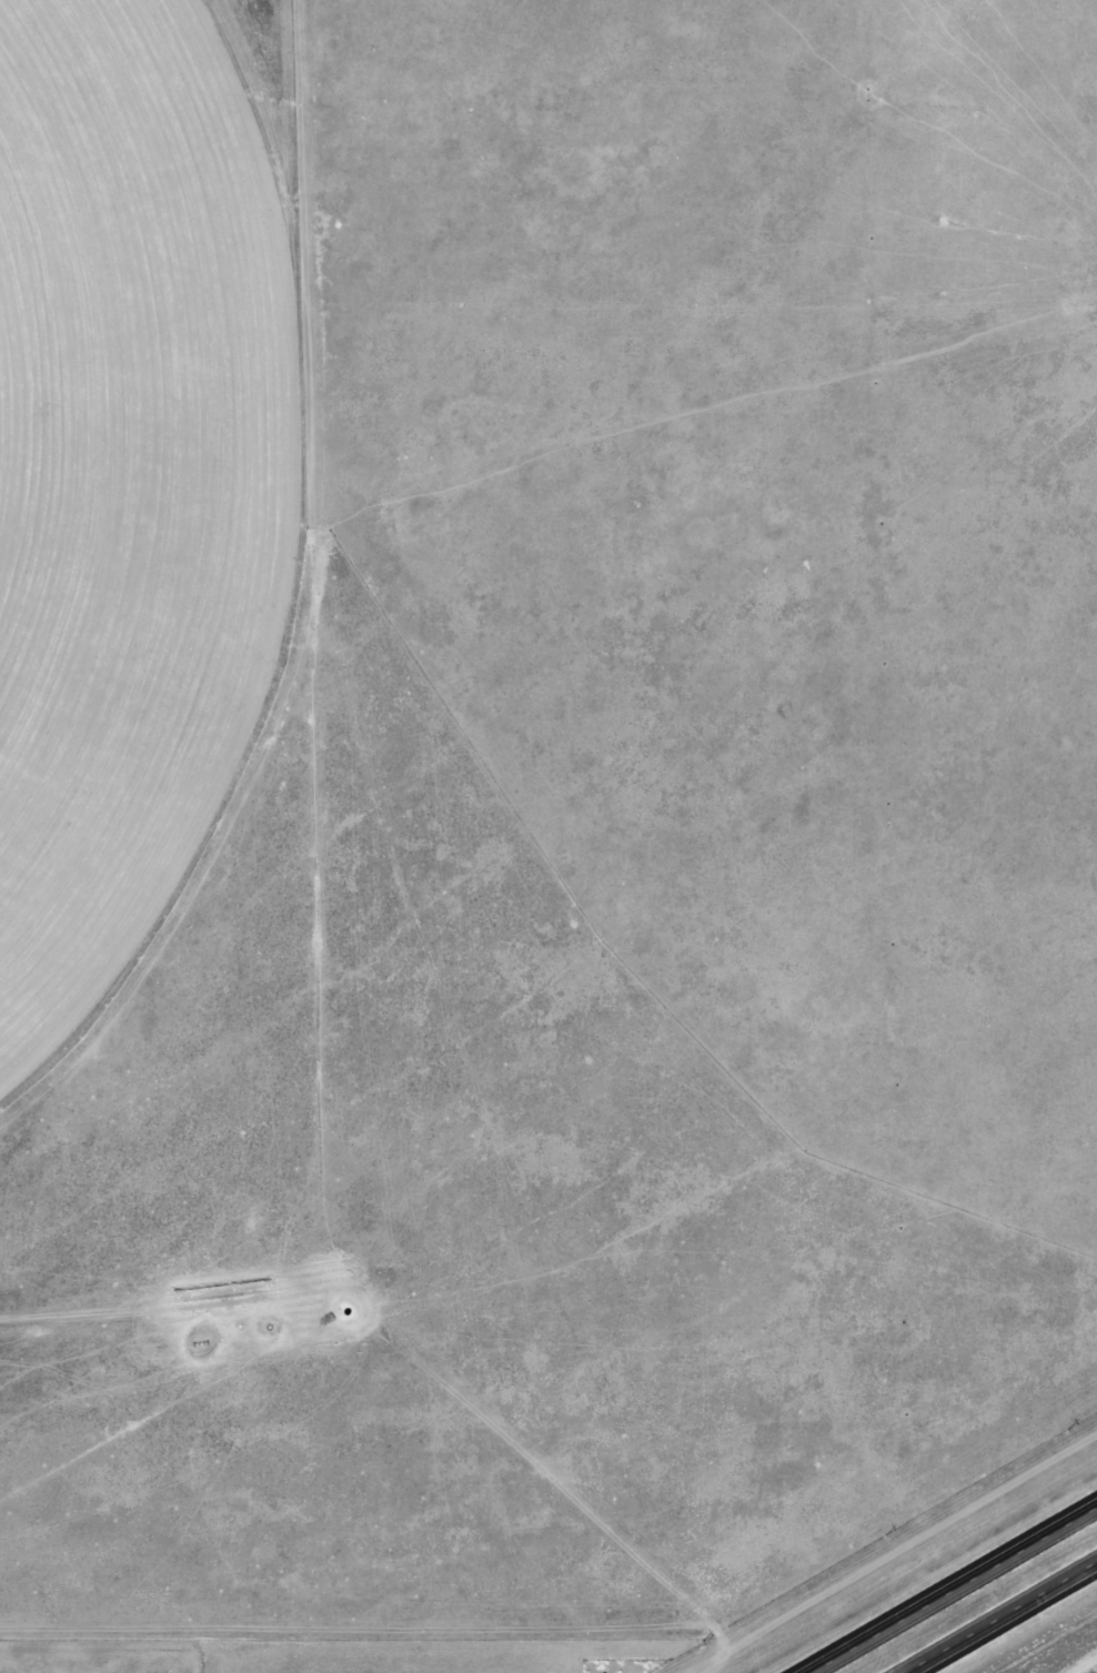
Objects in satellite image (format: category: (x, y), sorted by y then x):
road: (953, 1591)
road: (1005, 1620)

